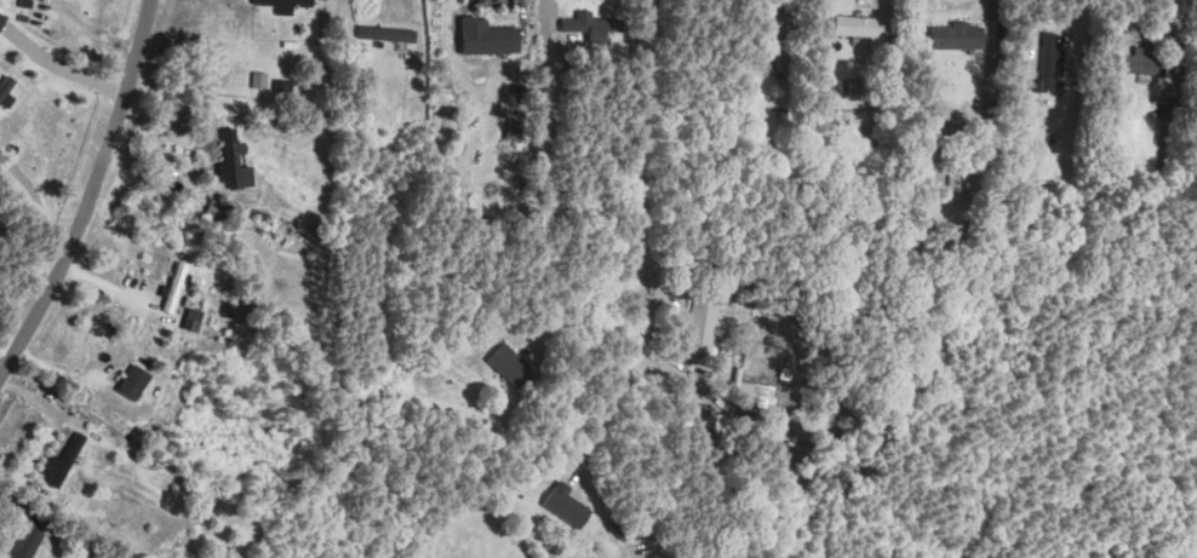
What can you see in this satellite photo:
building: (283, 1)
building: (590, 25)
building: (860, 25)
road: (96, 29)
building: (386, 33)
building: (957, 35)
road: (992, 42)
building: (781, 46)
building: (1144, 62)
building: (1047, 63)
building: (442, 96)
building: (514, 128)
building: (234, 162)
road: (642, 177)
road: (97, 195)
building: (214, 208)
road: (588, 306)
building: (701, 326)
building: (510, 364)
building: (133, 381)
building: (752, 396)
road: (605, 410)
building: (703, 416)
building: (50, 464)
building: (568, 502)
building: (24, 539)

